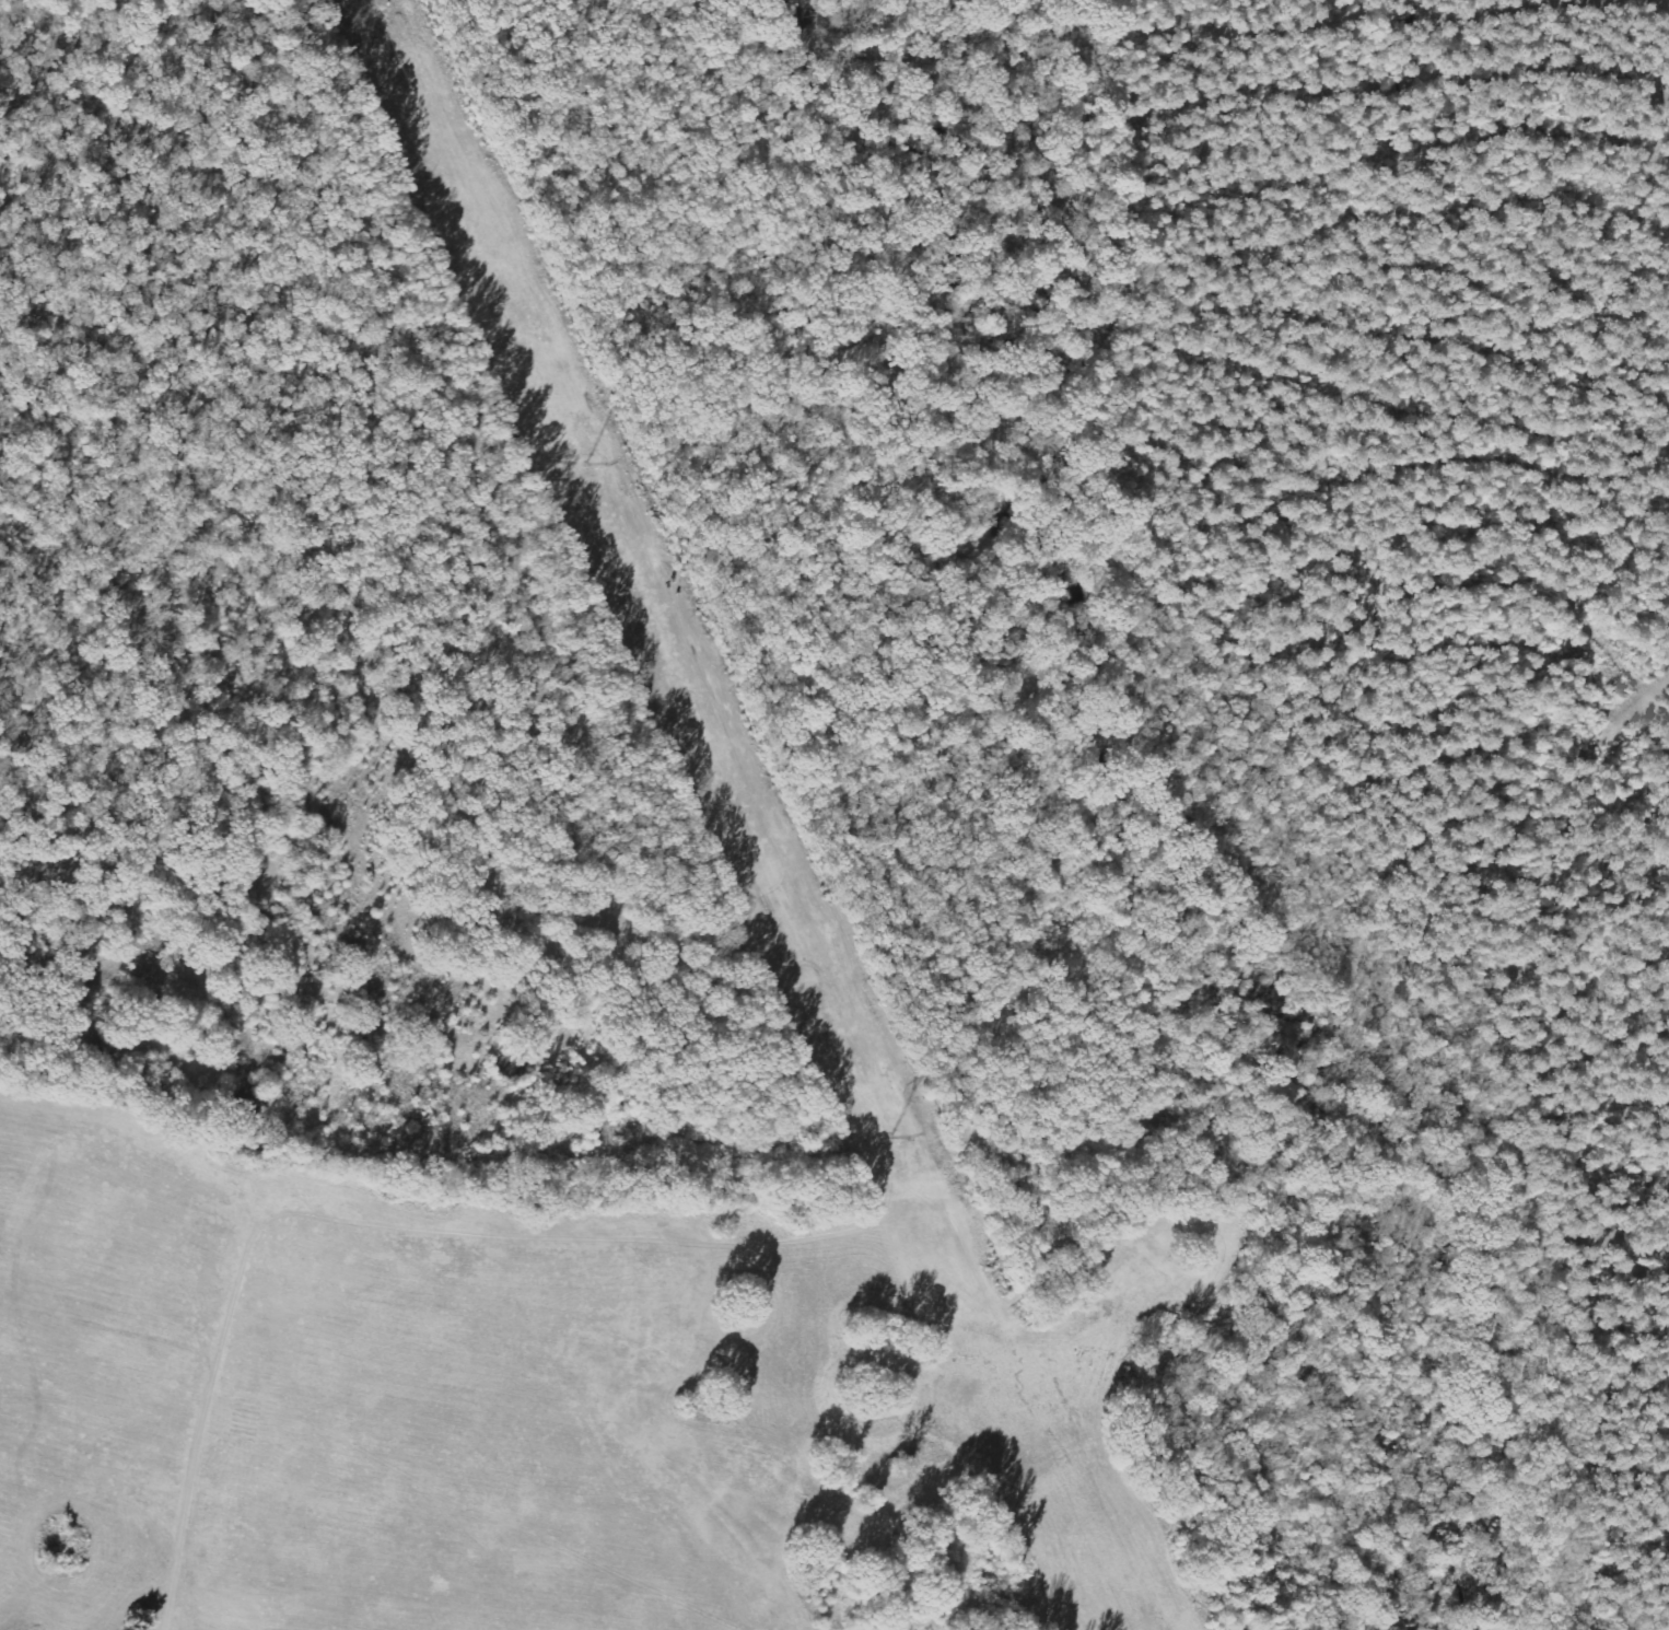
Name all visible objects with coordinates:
power tower: (582, 466)
power tower: (886, 1138)

